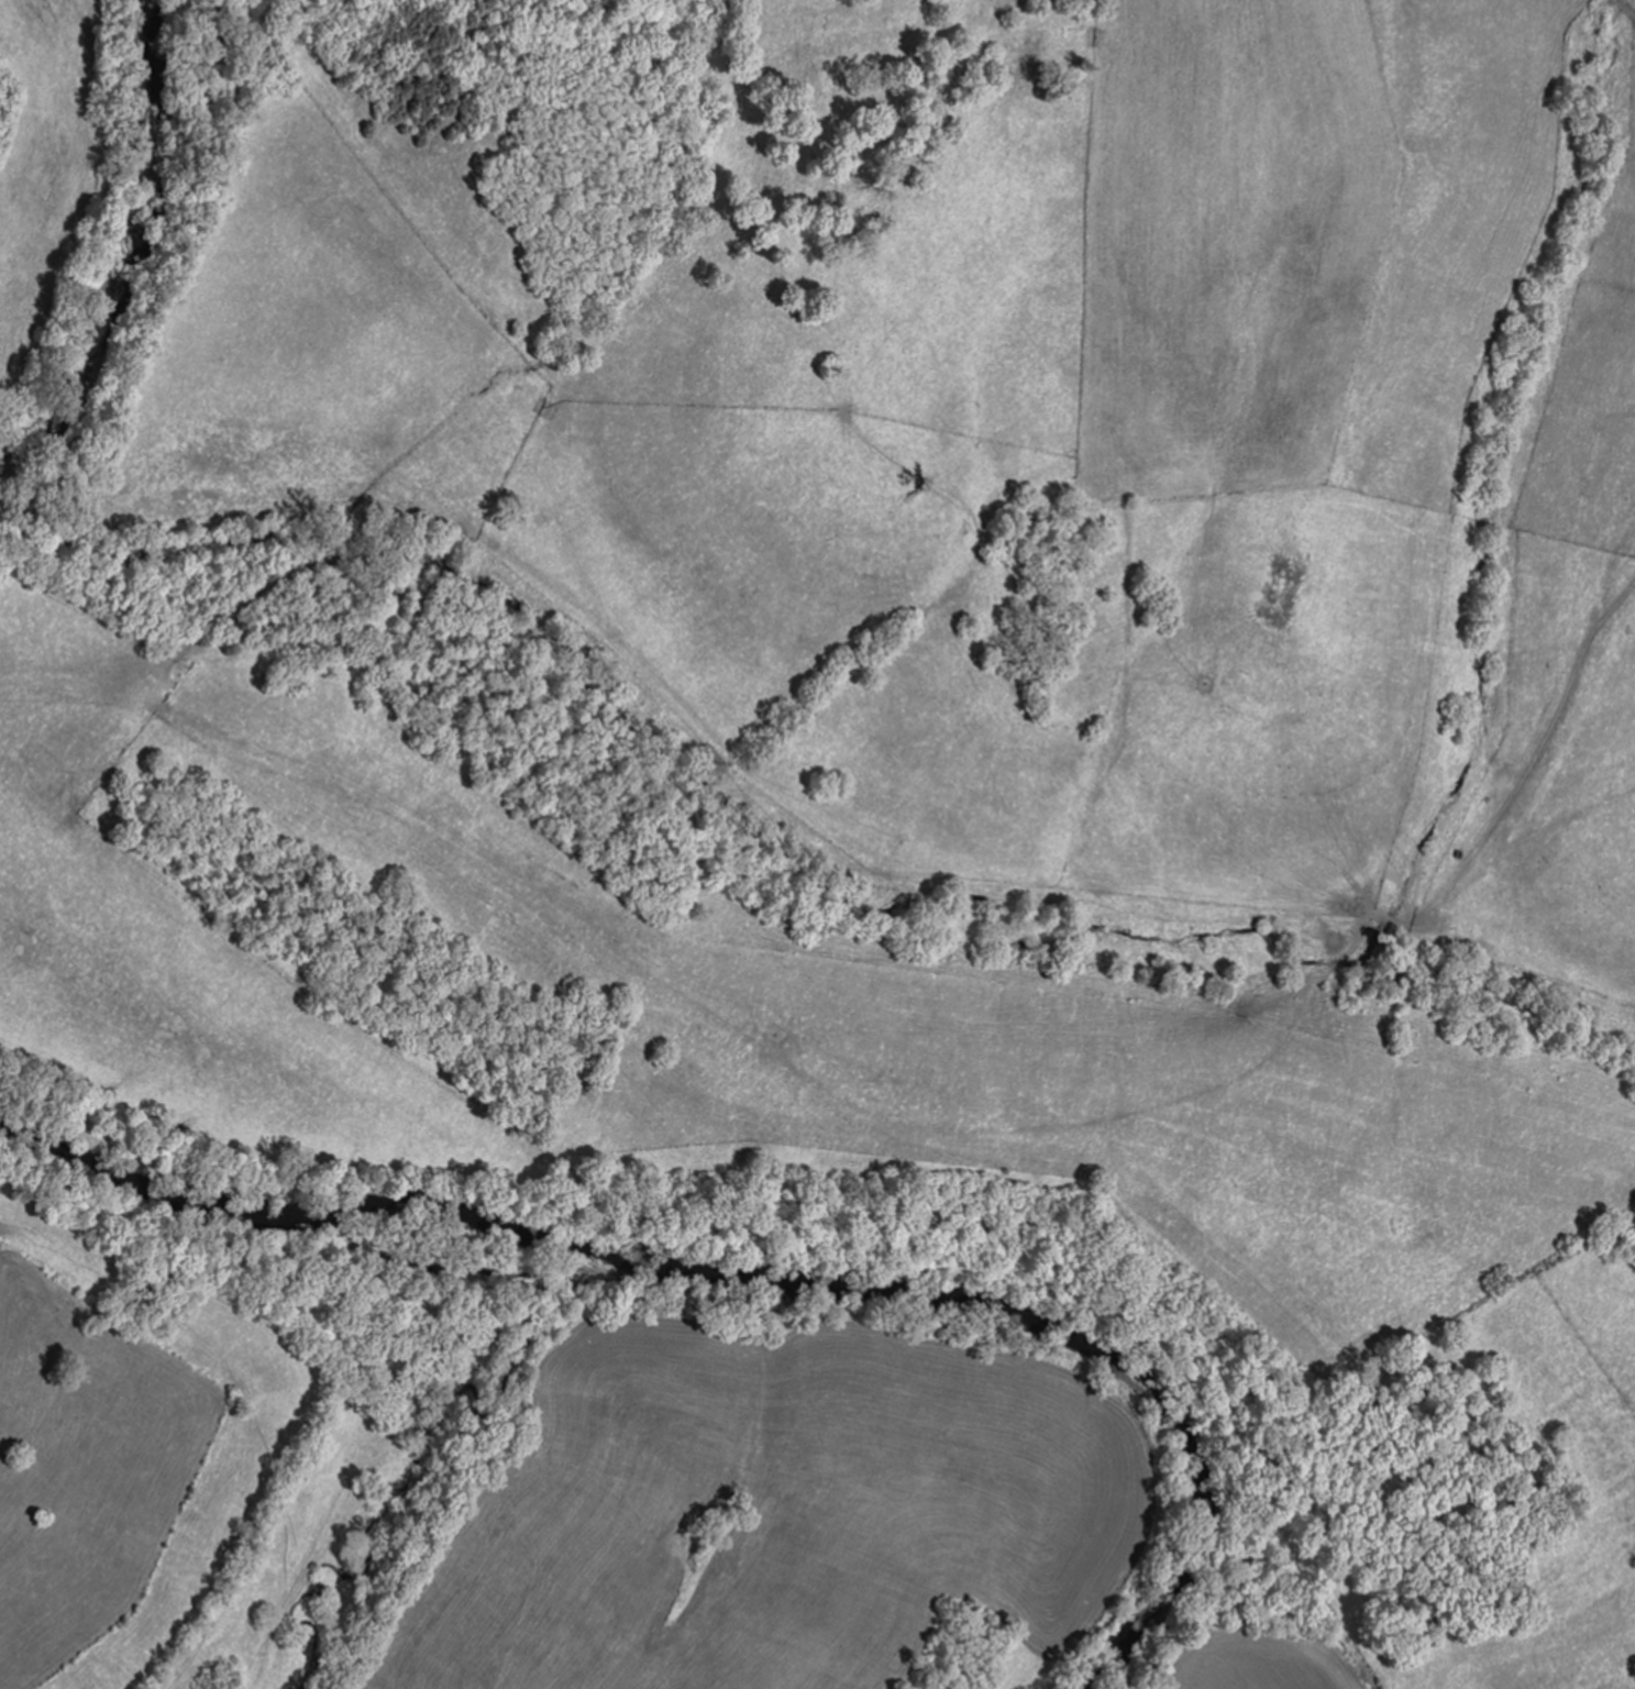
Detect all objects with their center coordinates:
river: (114, 239)
river: (758, 1271)

